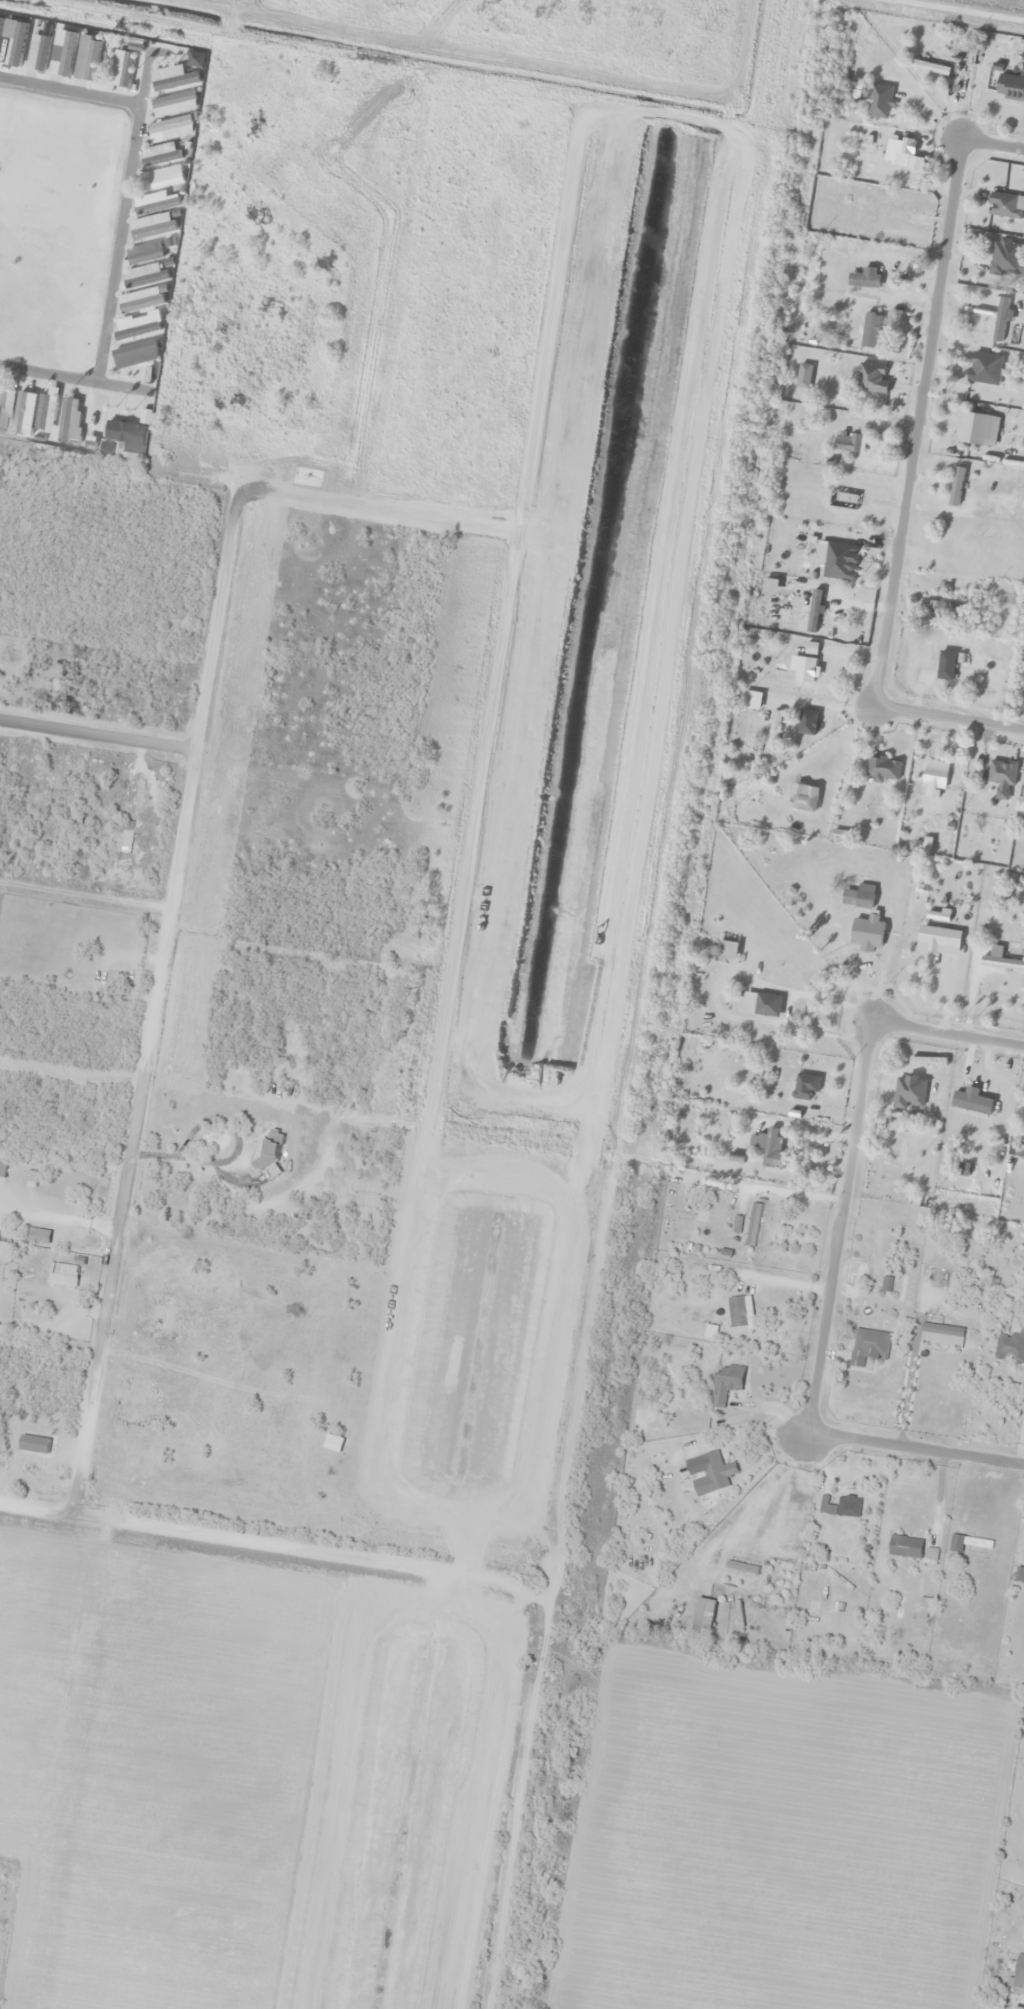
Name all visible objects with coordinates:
road: (742, 28)
building: (12, 43)
building: (37, 53)
building: (62, 53)
building: (86, 59)
building: (929, 68)
building: (121, 69)
building: (177, 77)
building: (1010, 87)
building: (879, 102)
building: (173, 105)
building: (170, 130)
road: (992, 144)
building: (157, 151)
building: (896, 152)
building: (160, 179)
building: (154, 204)
building: (1003, 206)
road: (122, 220)
building: (151, 227)
building: (143, 254)
building: (1002, 270)
building: (144, 277)
building: (862, 278)
building: (140, 301)
building: (1000, 320)
building: (870, 331)
building: (134, 356)
building: (984, 369)
building: (871, 379)
building: (6, 405)
building: (23, 411)
building: (46, 411)
building: (68, 419)
building: (977, 429)
building: (126, 433)
building: (849, 443)
building: (955, 487)
road: (903, 498)
building: (832, 559)
building: (814, 612)
building: (947, 612)
road: (216, 615)
building: (931, 656)
building: (774, 730)
building: (883, 769)
building: (1002, 775)
building: (933, 783)
building: (858, 897)
building: (867, 934)
building: (938, 937)
building: (727, 951)
building: (999, 961)
railway: (668, 1004)
building: (761, 1005)
road: (949, 1036)
building: (926, 1062)
road: (142, 1070)
building: (804, 1088)
building: (909, 1093)
building: (1023, 1135)
building: (768, 1148)
building: (273, 1152)
building: (753, 1225)
road: (839, 1230)
building: (23, 1274)
building: (63, 1274)
building: (740, 1311)
building: (942, 1336)
building: (869, 1347)
building: (1010, 1347)
building: (726, 1383)
road: (914, 1451)
building: (717, 1471)
building: (840, 1503)
building: (967, 1542)
building: (905, 1546)
road: (283, 1547)
building: (742, 1567)
building: (1020, 1574)
building: (1019, 1971)

